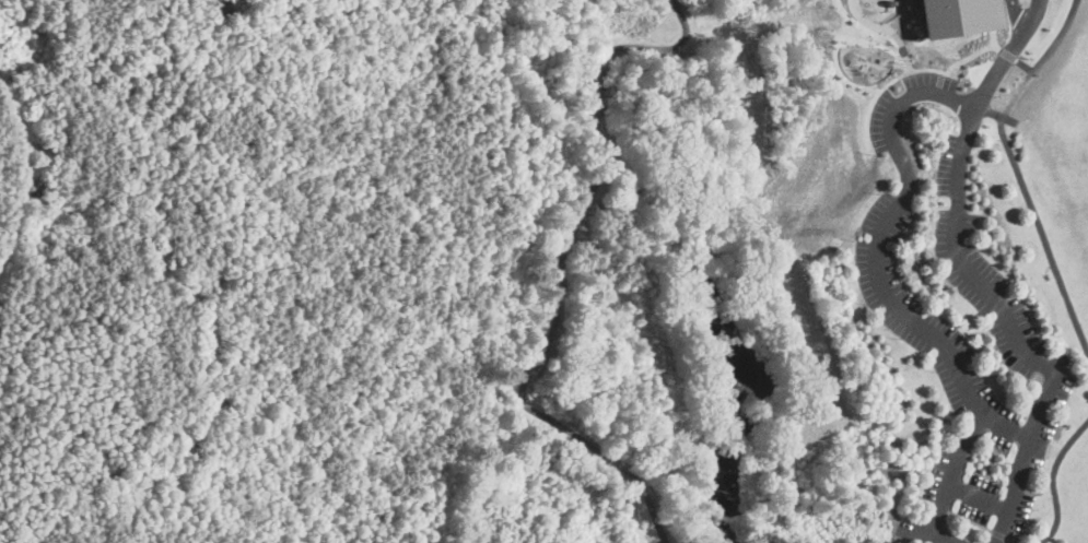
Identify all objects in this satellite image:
building: (958, 16)
road: (662, 47)
road: (983, 54)
road: (1005, 60)
road: (595, 88)
road: (905, 99)
road: (1016, 174)
park: (788, 281)
parking lot: (959, 321)
road: (538, 359)
road: (1051, 480)

